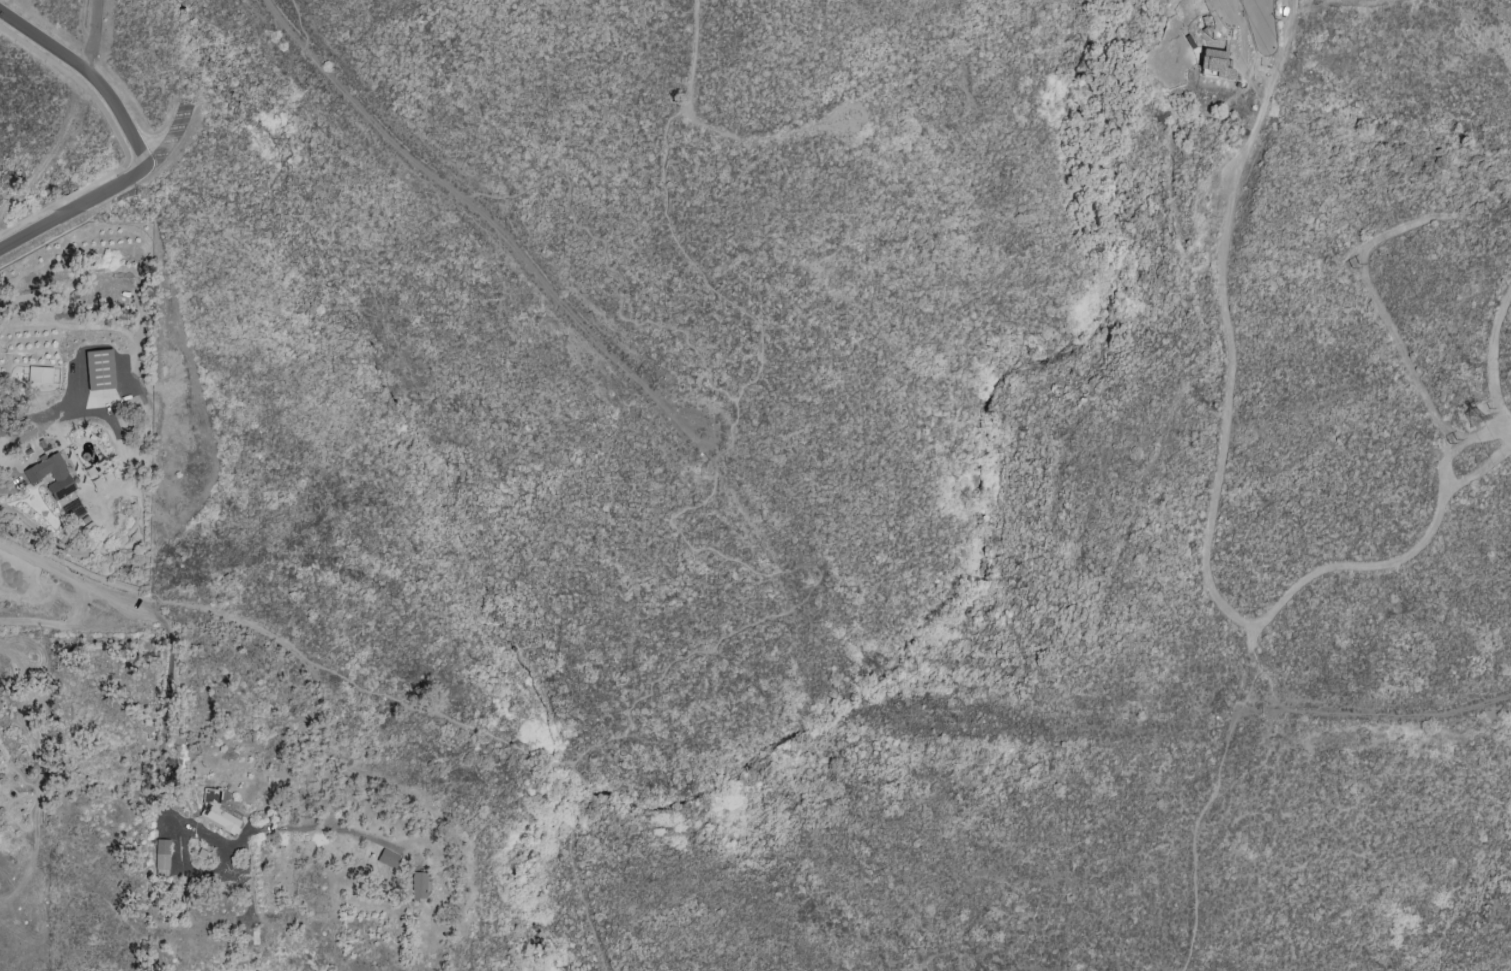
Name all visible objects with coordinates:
power tower: (1214, 11)
road: (299, 24)
road: (96, 38)
building: (1215, 64)
road: (88, 77)
road: (839, 125)
road: (53, 150)
road: (75, 209)
road: (482, 214)
power tower: (1351, 262)
road: (708, 284)
road: (617, 286)
road: (1391, 324)
building: (99, 370)
building: (39, 375)
power tower: (1471, 419)
power tower: (1453, 448)
building: (51, 475)
road: (1210, 559)
road: (71, 574)
road: (800, 602)
road: (1257, 669)
road: (1239, 710)
road: (452, 724)
road: (165, 725)
building: (1, 759)
building: (217, 811)
building: (161, 857)
building: (387, 859)
building: (418, 887)

